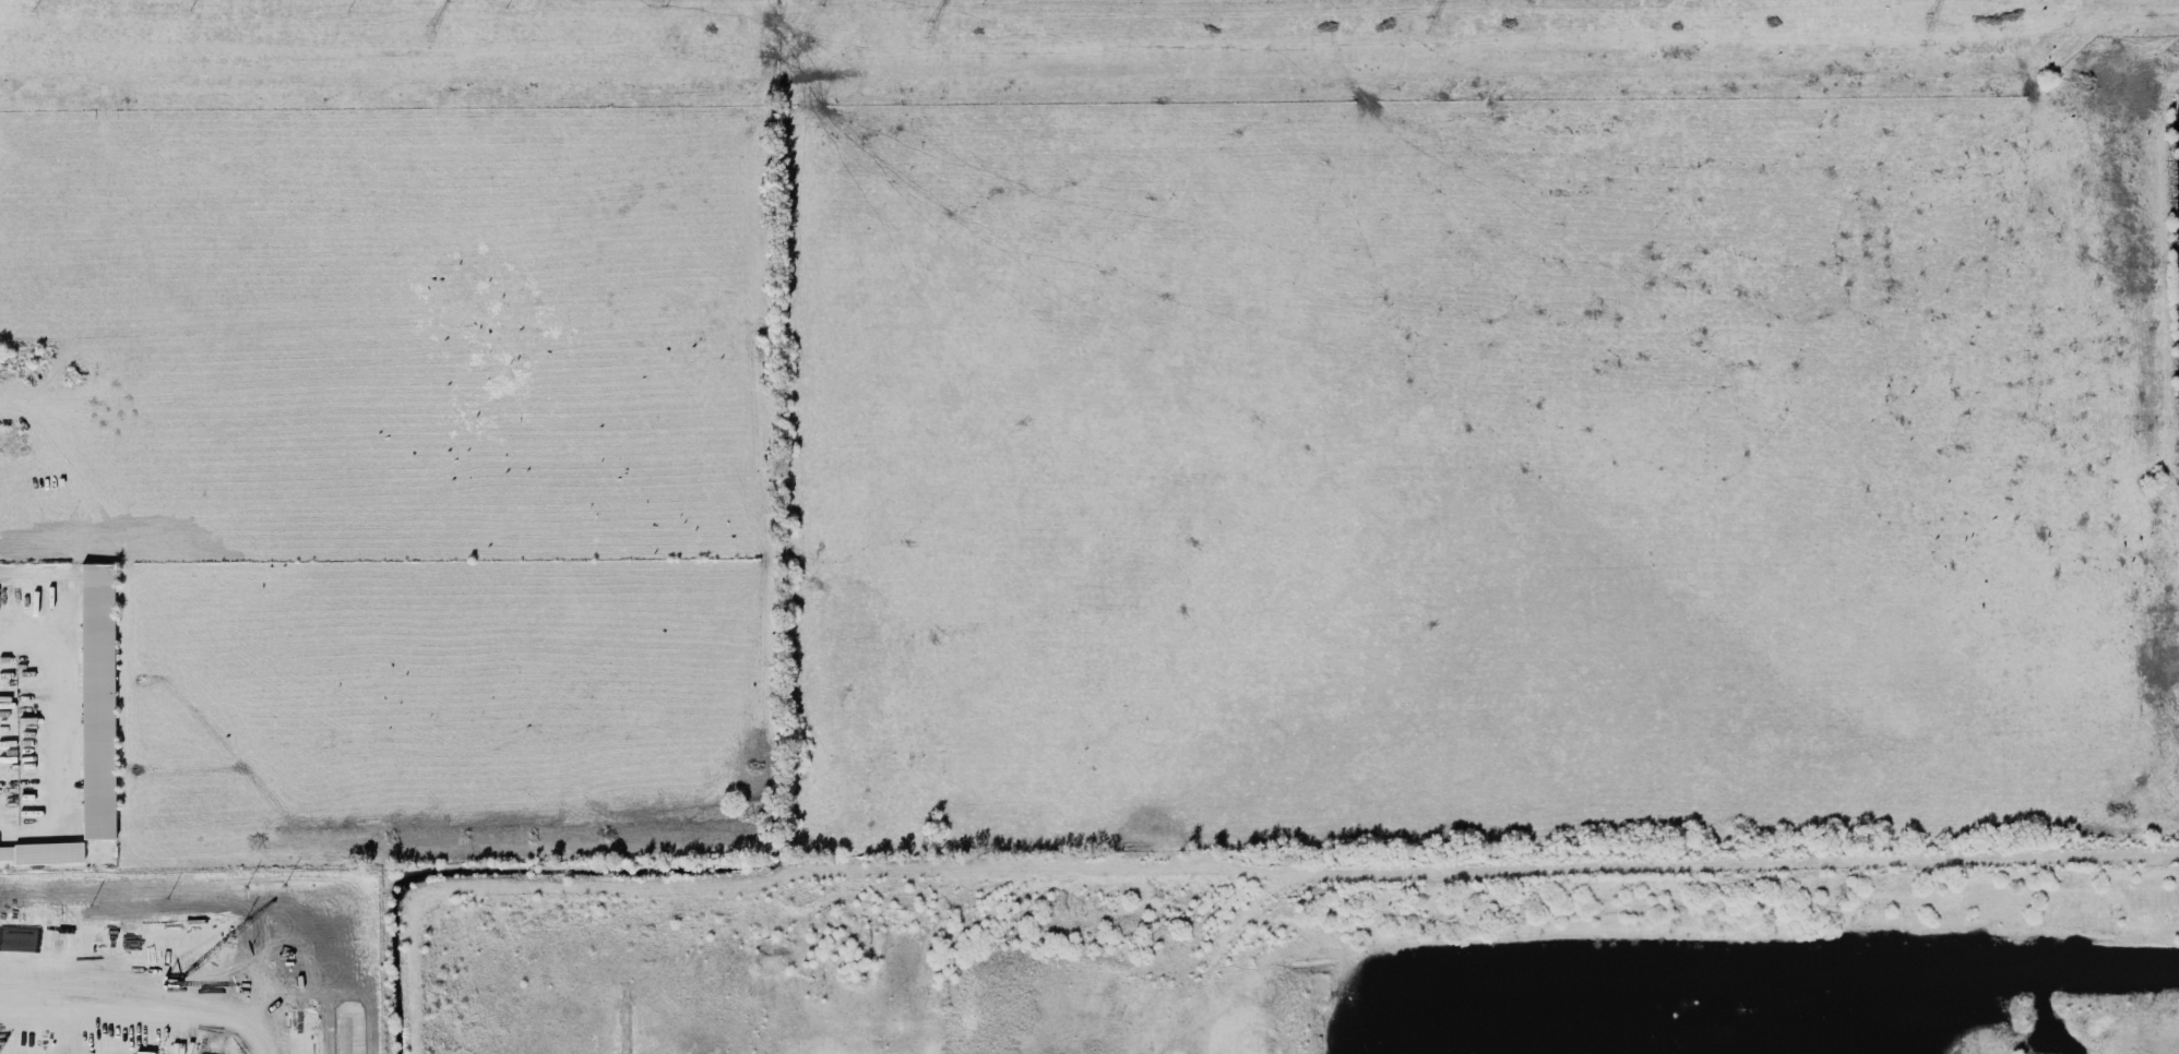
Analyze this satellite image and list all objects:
power tower: (1925, 26)
power tower: (1424, 29)
power tower: (917, 33)
power tower: (424, 35)
building: (97, 700)
road: (76, 721)
building: (43, 852)
road: (164, 985)

